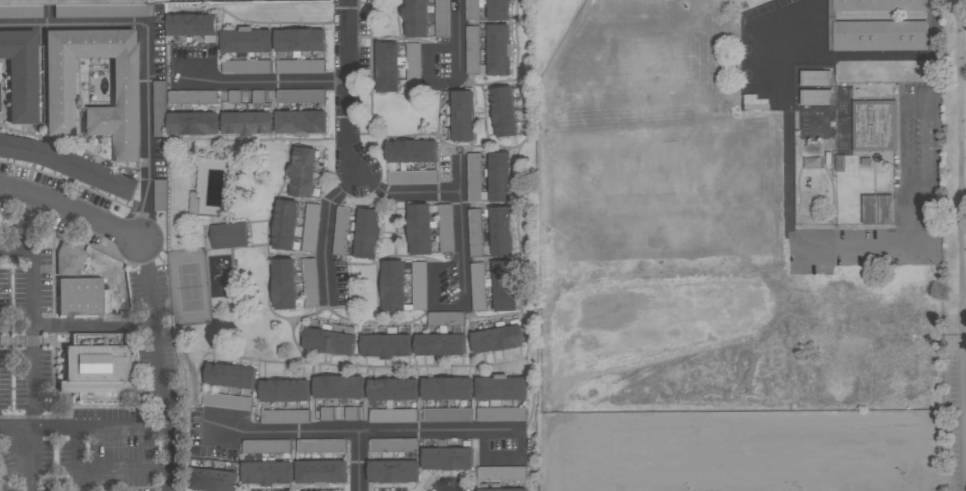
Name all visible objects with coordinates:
building: (880, 5)
building: (25, 7)
building: (473, 9)
building: (498, 9)
building: (415, 18)
building: (442, 18)
building: (192, 26)
building: (829, 26)
road: (147, 29)
road: (932, 30)
building: (880, 38)
building: (245, 41)
building: (298, 41)
road: (457, 42)
building: (498, 50)
building: (473, 52)
building: (413, 66)
building: (246, 67)
building: (300, 67)
building: (387, 67)
road: (426, 67)
building: (21, 73)
building: (815, 80)
building: (59, 82)
road: (265, 83)
building: (300, 96)
building: (192, 97)
building: (815, 98)
building: (159, 109)
building: (503, 111)
building: (461, 114)
building: (300, 122)
building: (192, 123)
building: (246, 123)
building: (813, 123)
building: (874, 127)
road: (930, 135)
building: (411, 151)
road: (349, 158)
road: (962, 163)
building: (67, 165)
building: (841, 165)
parking lot: (953, 165)
building: (302, 171)
building: (411, 177)
building: (474, 177)
building: (499, 177)
building: (160, 195)
road: (409, 195)
road: (143, 210)
road: (70, 211)
building: (877, 211)
building: (284, 224)
building: (310, 227)
building: (419, 229)
building: (340, 230)
road: (463, 230)
building: (500, 231)
building: (475, 232)
building: (366, 233)
building: (228, 235)
road: (9, 252)
building: (70, 259)
building: (309, 282)
building: (283, 284)
building: (392, 285)
building: (503, 285)
building: (477, 286)
park: (188, 287)
building: (81, 297)
building: (445, 319)
road: (96, 326)
road: (965, 328)
road: (964, 334)
building: (495, 339)
building: (328, 342)
building: (439, 344)
building: (386, 345)
building: (96, 368)
building: (230, 376)
building: (338, 387)
building: (446, 389)
building: (500, 389)
building: (391, 390)
building: (285, 391)
building: (226, 402)
building: (501, 414)
road: (964, 414)
building: (447, 415)
building: (393, 416)
building: (284, 417)
road: (746, 423)
road: (74, 428)
road: (12, 430)
road: (358, 434)
building: (446, 443)
building: (392, 445)
building: (266, 446)
building: (320, 446)
parking lot: (764, 447)
road: (24, 452)
road: (847, 456)
road: (885, 456)
road: (654, 457)
road: (693, 457)
road: (734, 457)
road: (771, 457)
road: (808, 457)
road: (614, 458)
building: (447, 459)
road: (361, 463)
road: (126, 468)
building: (393, 471)
building: (321, 472)
building: (267, 473)
building: (501, 473)
street lamp: (905, 474)
road: (171, 479)
building: (210, 479)
street lamp: (801, 488)
street lamp: (688, 489)
building: (501, 490)

